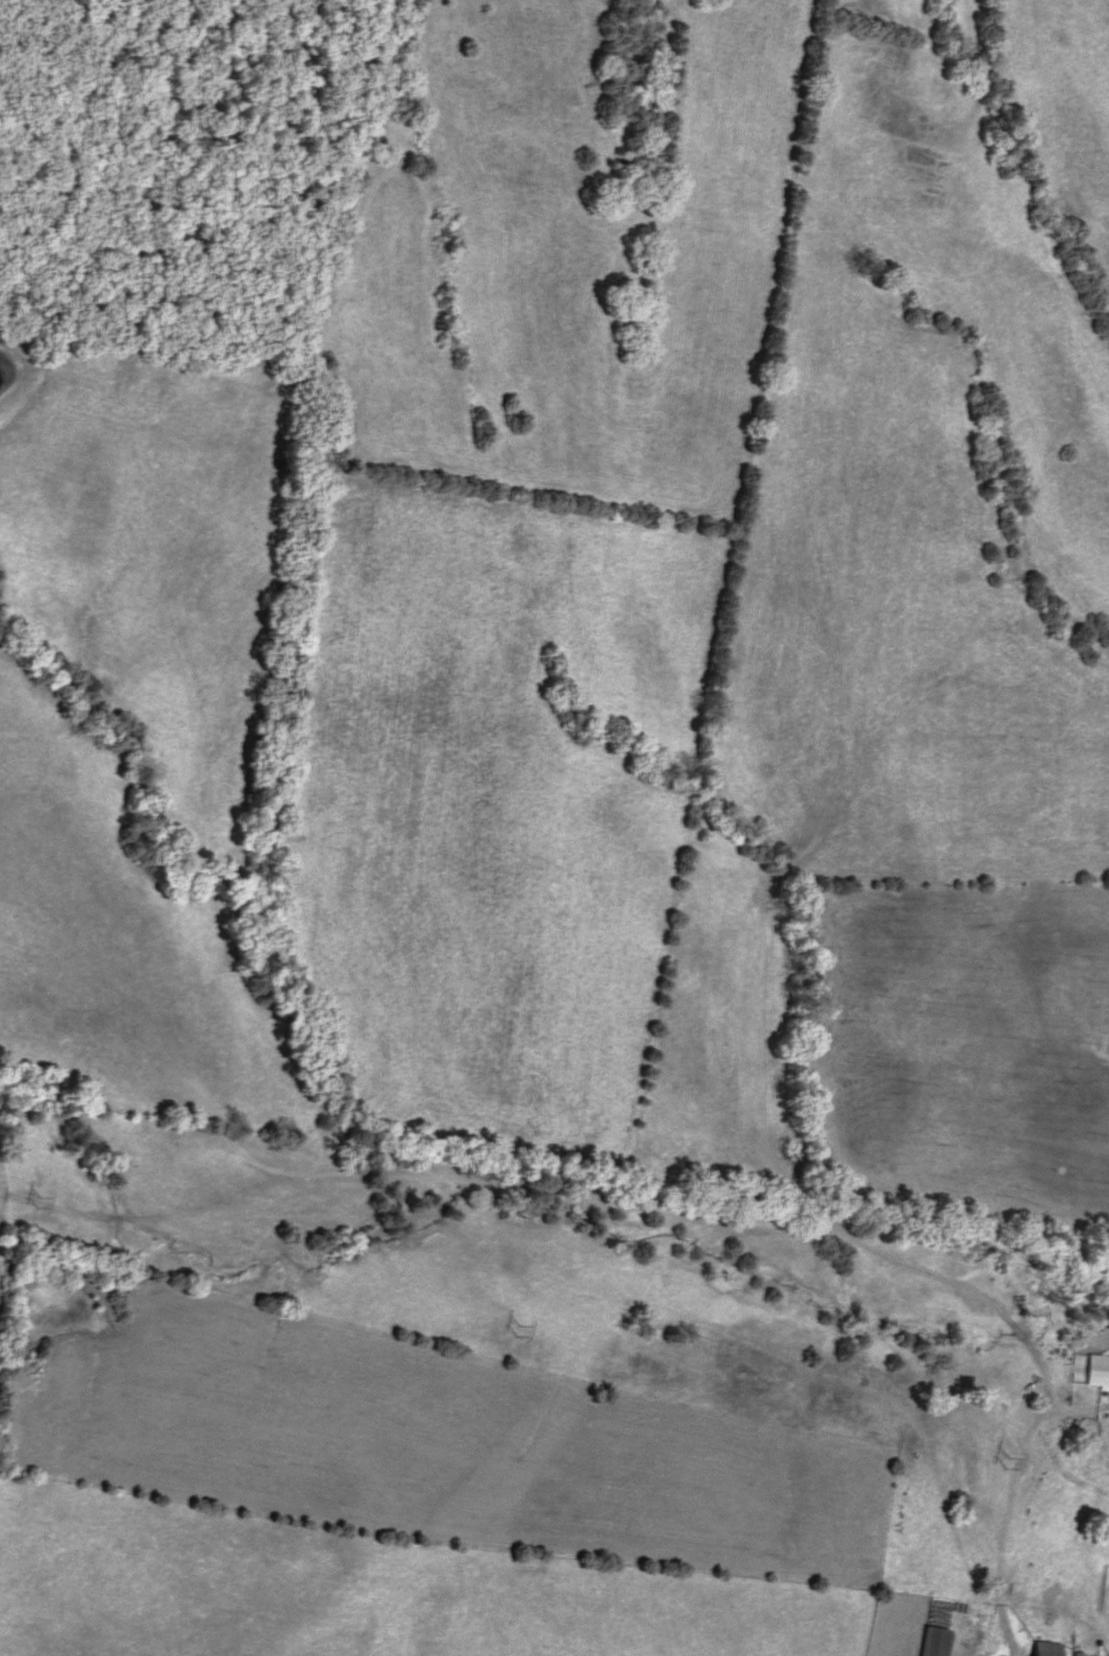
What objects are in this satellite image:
building: (1098, 1371)
building: (937, 1642)
building: (1048, 1649)

